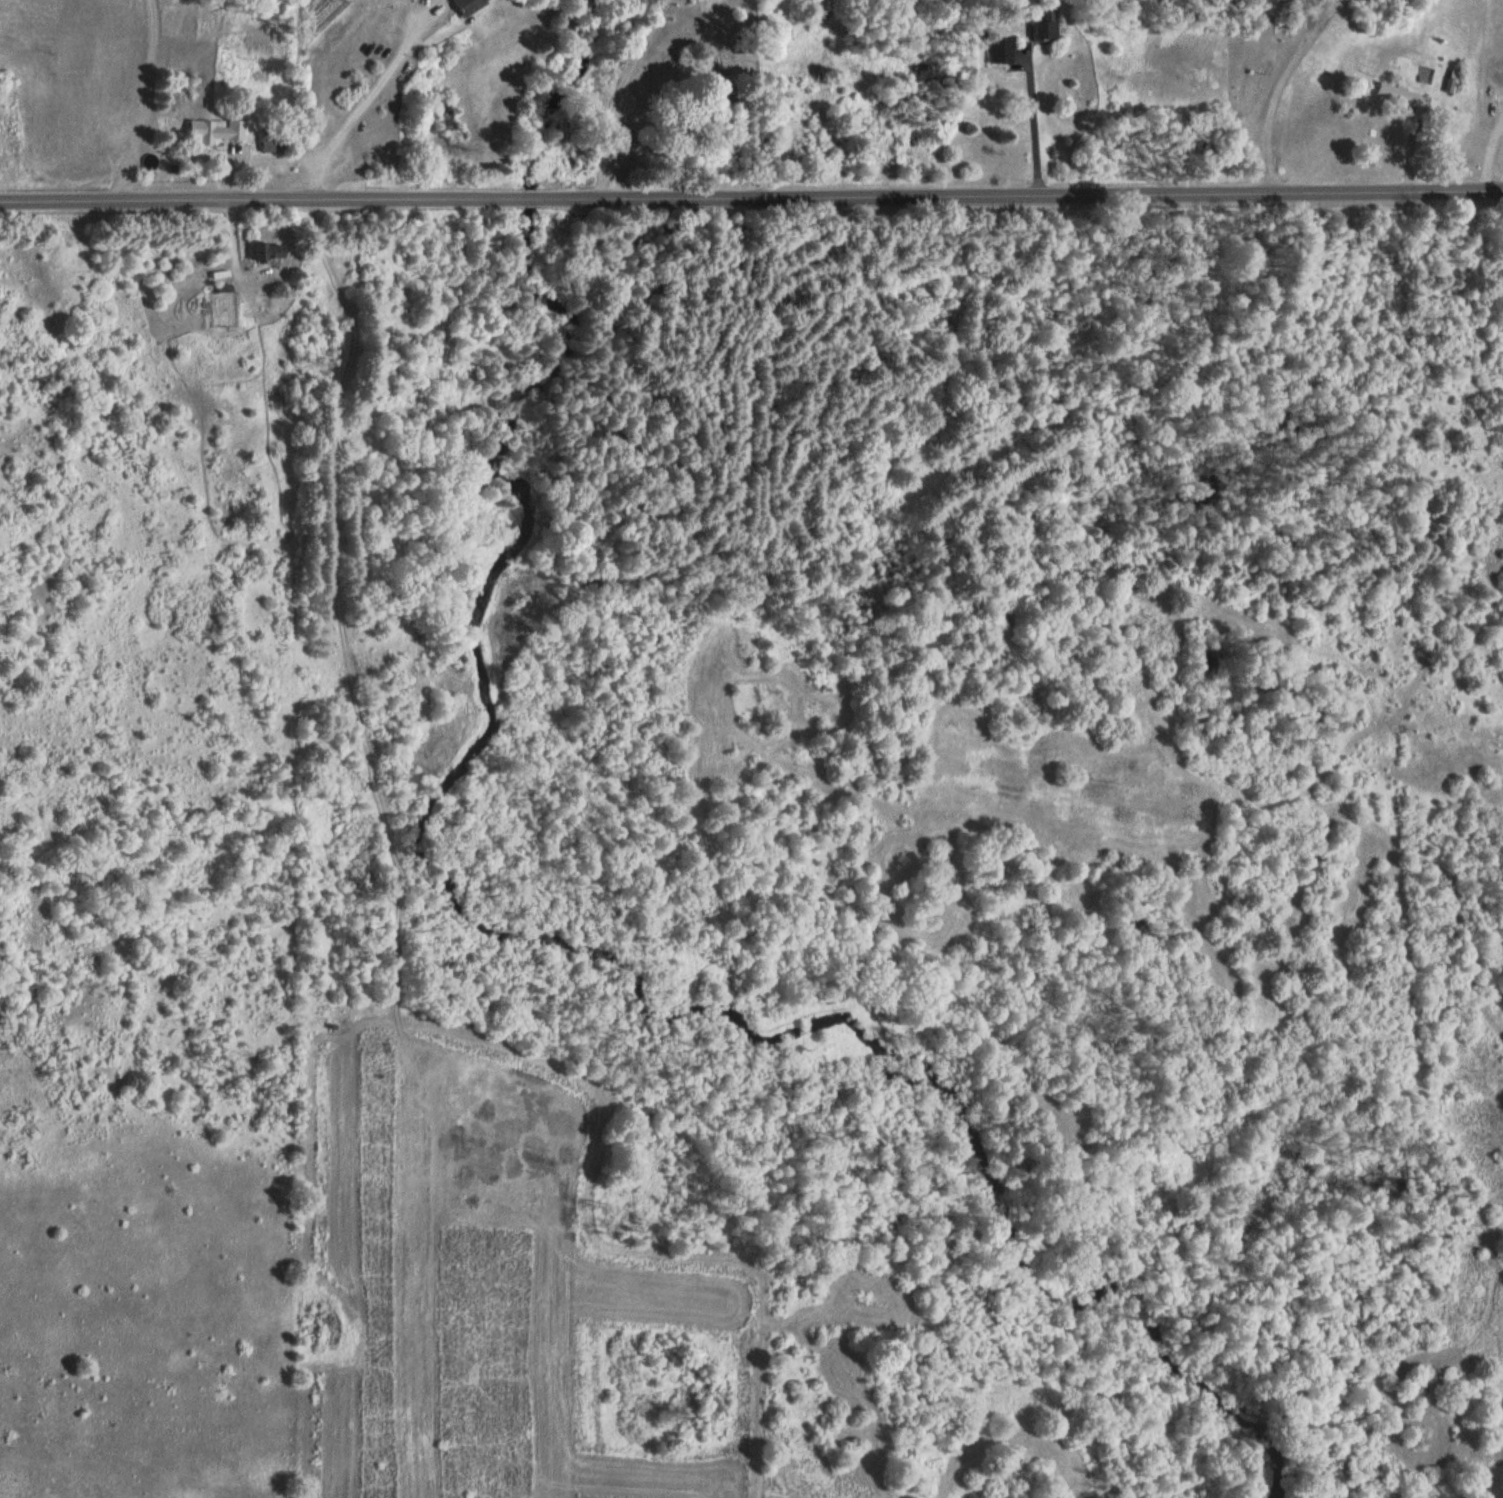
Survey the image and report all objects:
building: (455, 6)
road: (1310, 16)
road: (1324, 16)
building: (1034, 33)
building: (994, 53)
road: (617, 94)
road: (369, 96)
road: (753, 98)
building: (1396, 99)
road: (1271, 108)
building: (205, 133)
road: (751, 198)
building: (253, 254)

